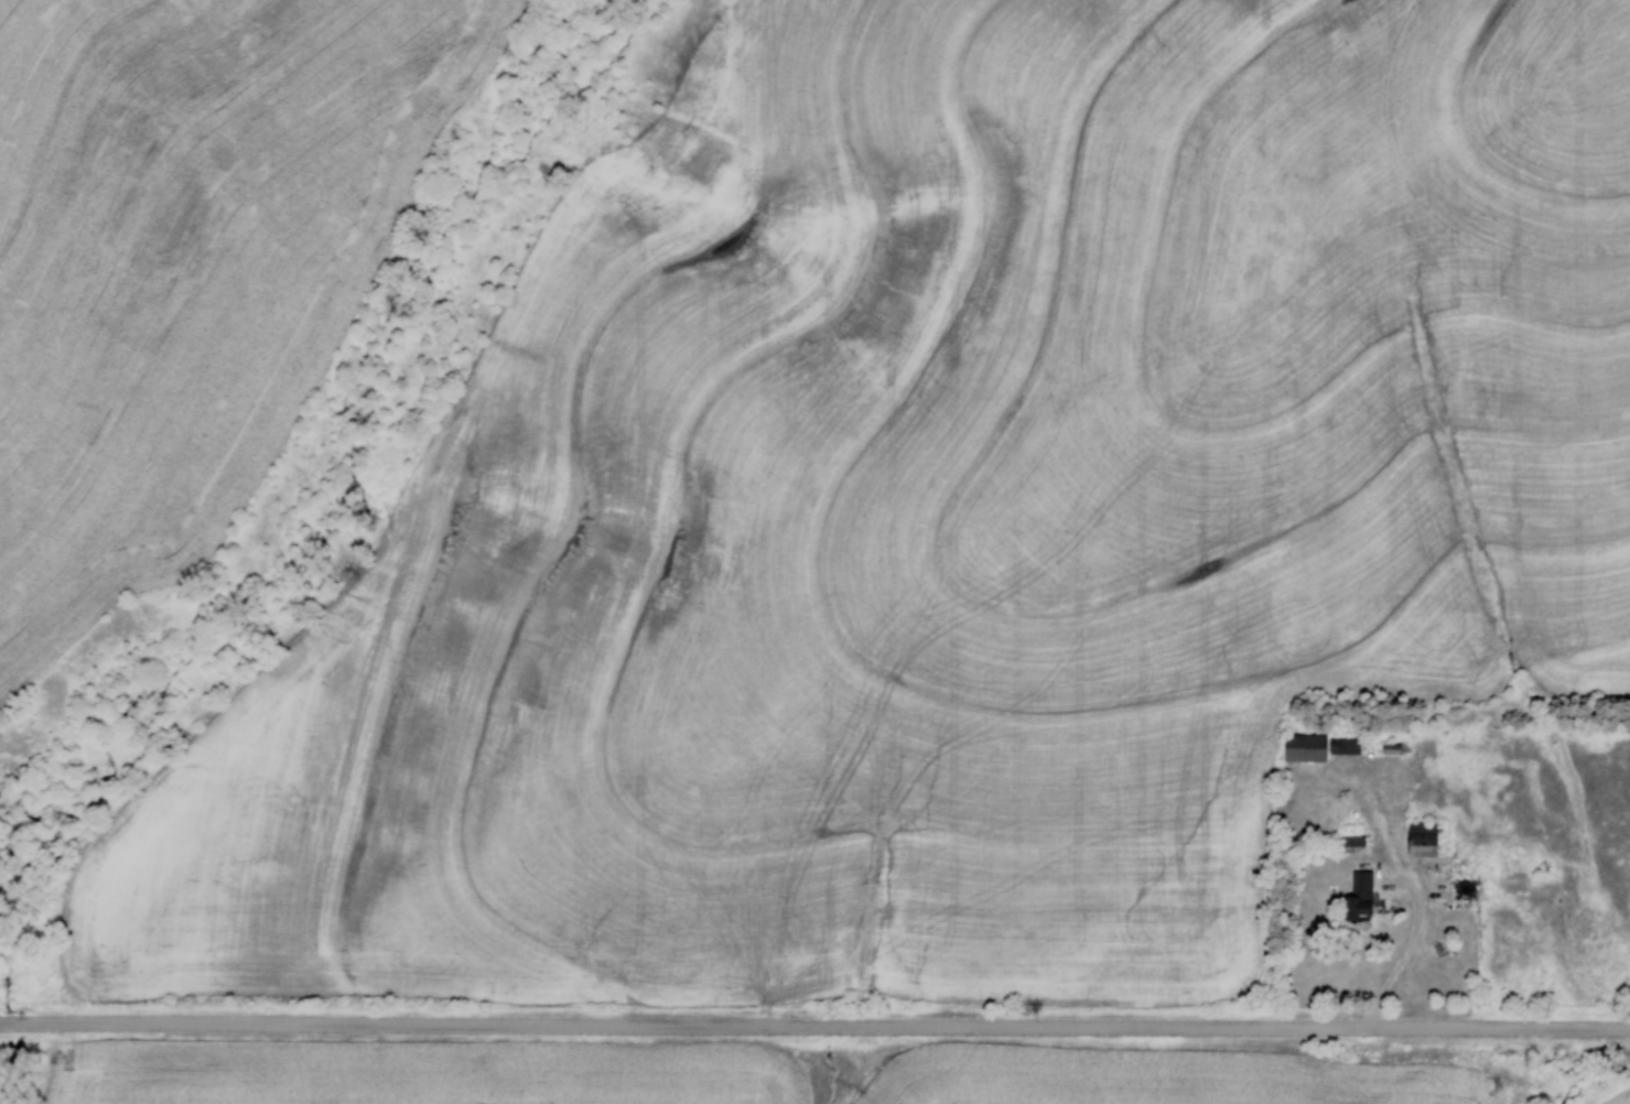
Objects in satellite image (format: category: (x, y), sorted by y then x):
building: (1342, 744)
building: (1303, 745)
building: (1419, 836)
building: (1351, 842)
building: (1461, 886)
building: (1357, 895)
building: (1443, 949)
road: (1412, 955)
road: (814, 1029)

